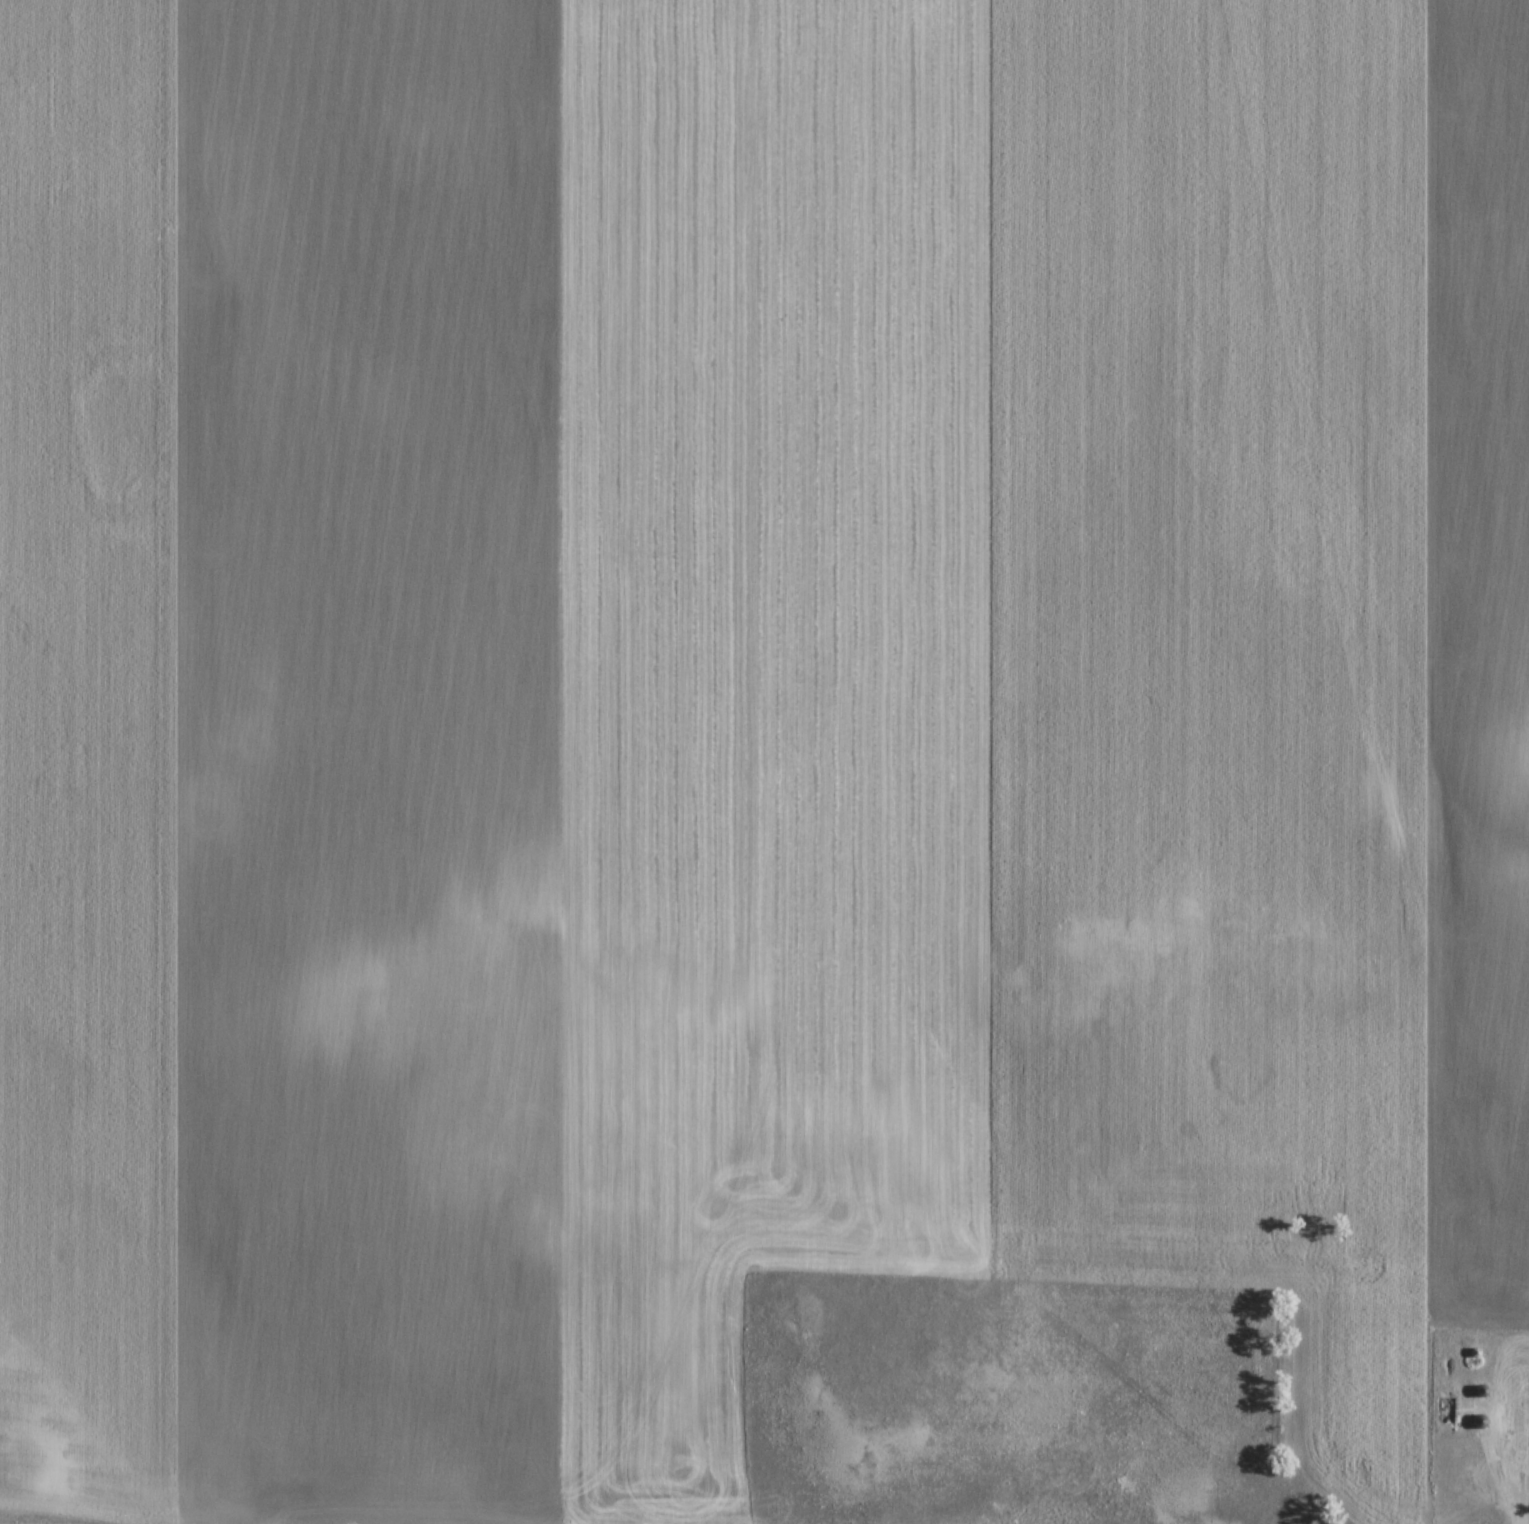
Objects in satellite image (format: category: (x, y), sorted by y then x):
building: (1482, 1388)
building: (1480, 1419)

